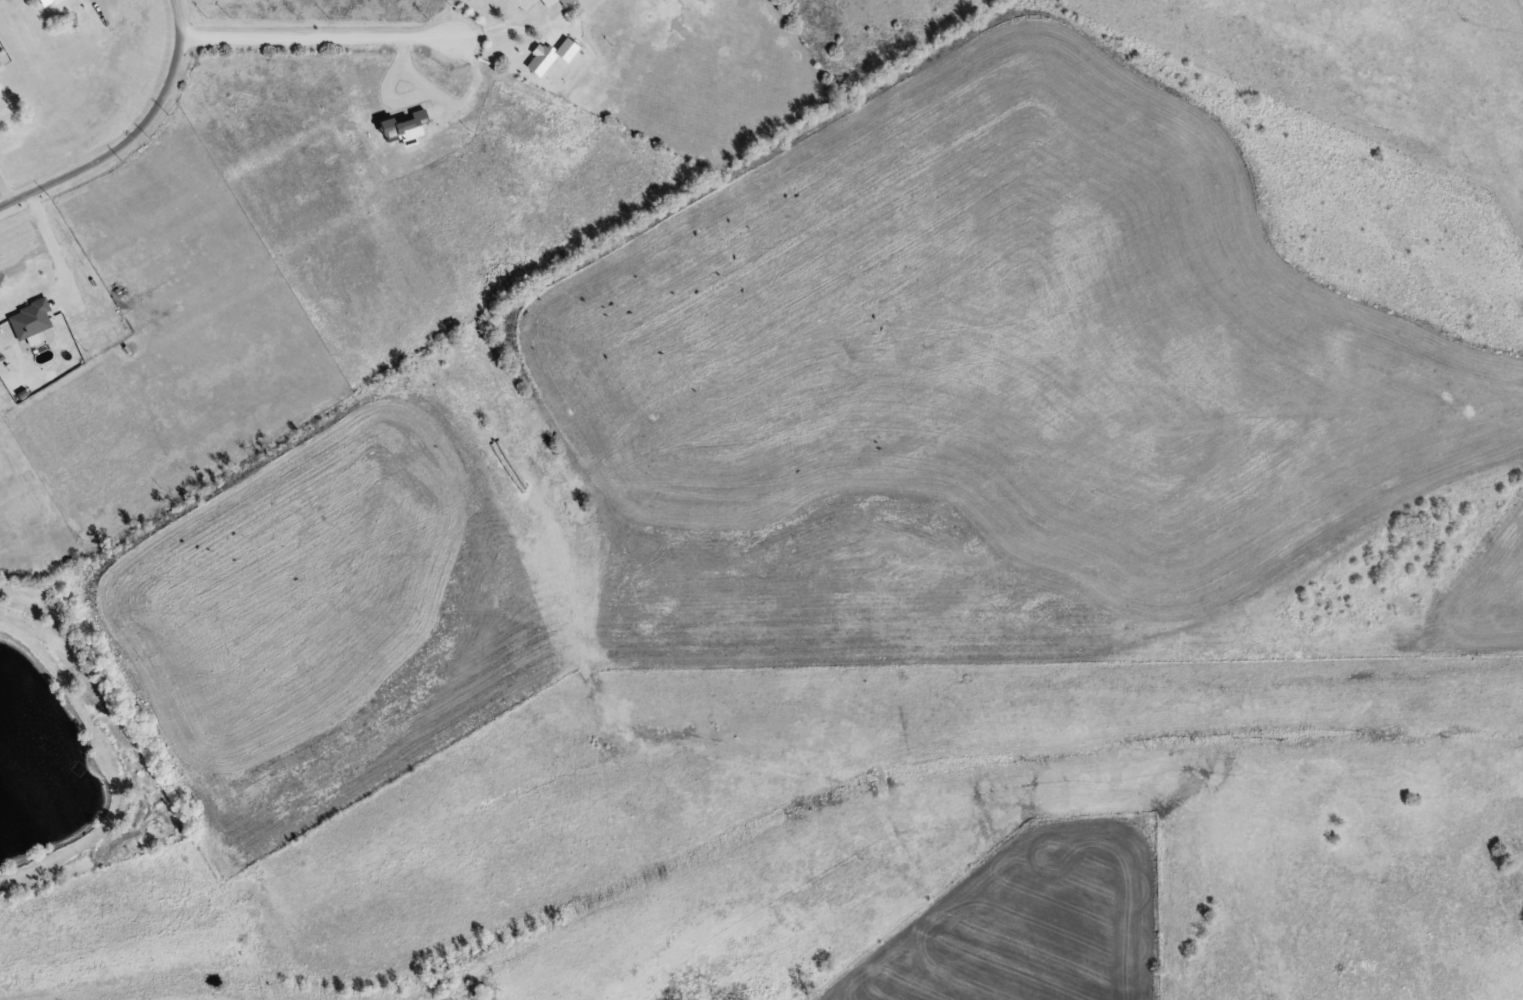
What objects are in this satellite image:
building: (46, 2)
building: (548, 2)
building: (565, 2)
building: (539, 60)
road: (130, 134)
building: (71, 662)

